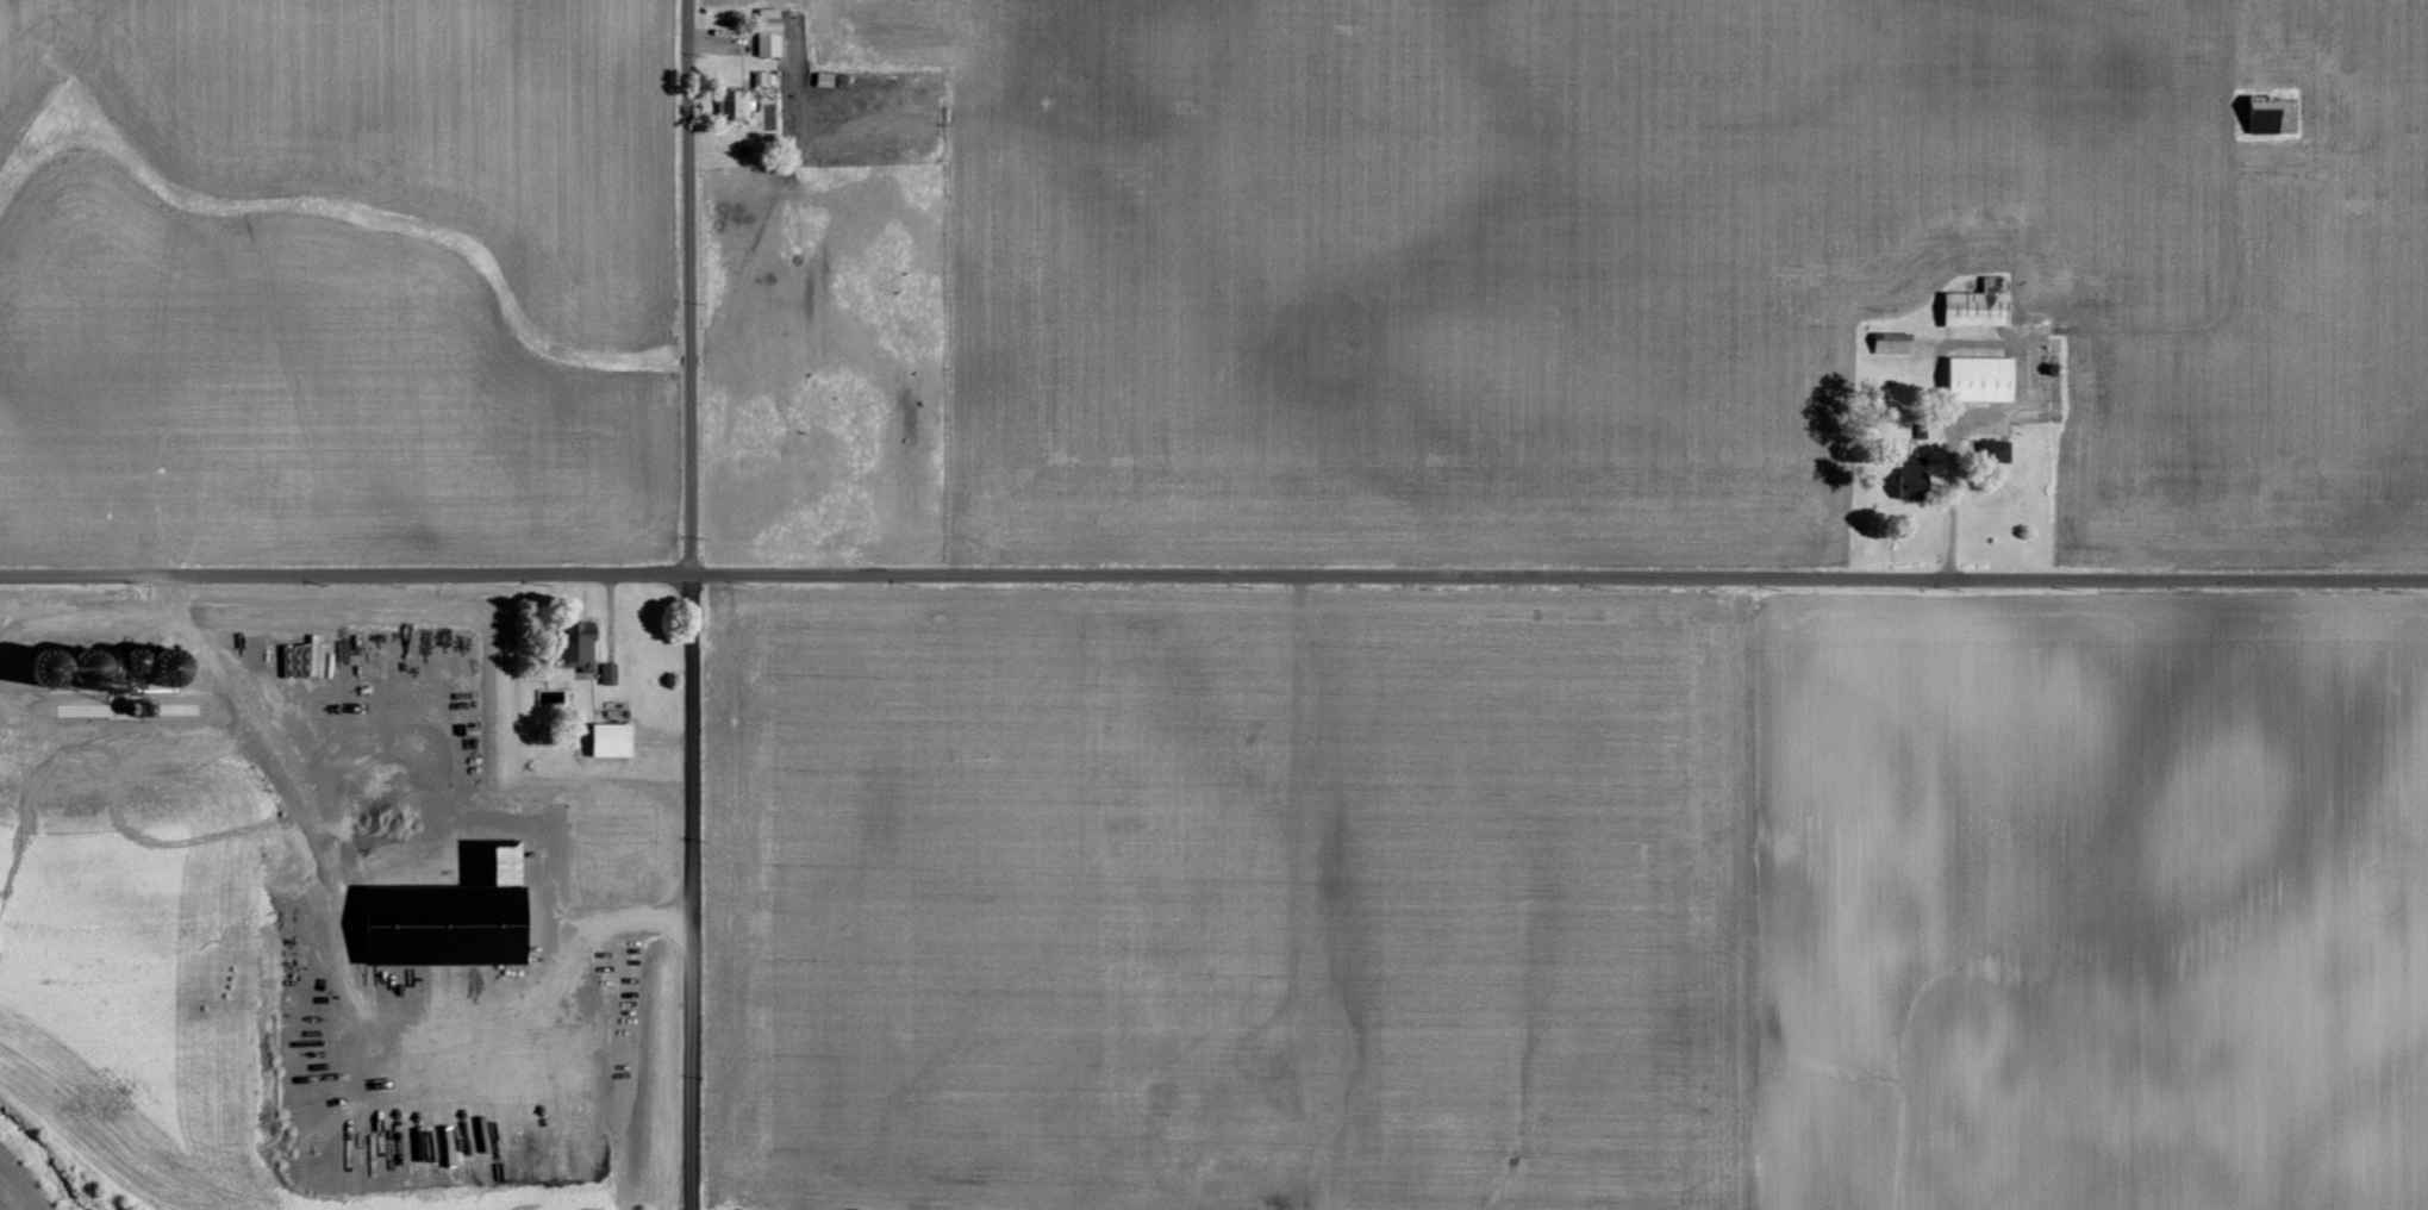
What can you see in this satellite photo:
building: (772, 33)
building: (741, 106)
building: (1977, 301)
building: (1889, 343)
building: (1974, 379)
building: (1995, 450)
road: (1950, 523)
road: (1213, 574)
road: (689, 604)
building: (588, 649)
building: (612, 674)
building: (617, 740)
road: (663, 740)
road: (1291, 892)
building: (455, 915)
road: (350, 984)

